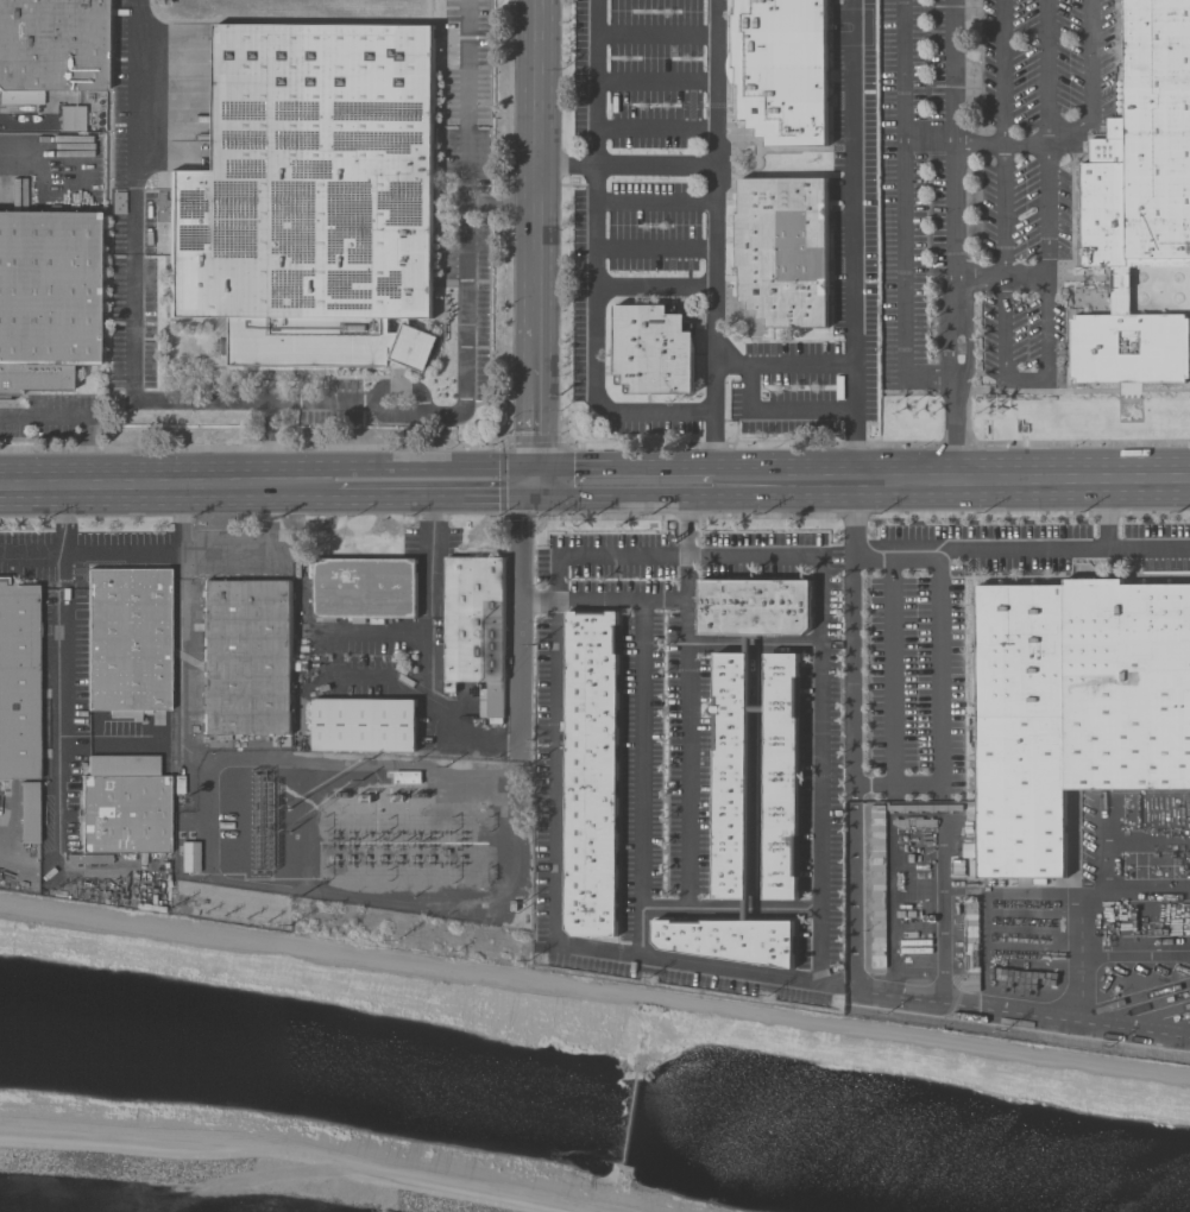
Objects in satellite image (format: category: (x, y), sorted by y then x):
building: (52, 45)
building: (781, 68)
road: (1047, 70)
road: (926, 140)
road: (977, 143)
road: (1025, 143)
road: (534, 163)
road: (51, 164)
road: (624, 165)
building: (311, 198)
building: (1138, 202)
road: (901, 212)
road: (713, 232)
road: (852, 240)
road: (952, 241)
building: (783, 251)
road: (593, 260)
road: (999, 276)
building: (46, 298)
road: (1002, 334)
building: (653, 349)
road: (783, 365)
road: (308, 400)
road: (531, 409)
road: (80, 416)
road: (269, 442)
road: (420, 465)
road: (621, 465)
road: (290, 474)
road: (741, 475)
road: (1035, 481)
road: (867, 482)
road: (811, 484)
road: (134, 487)
road: (295, 490)
road: (739, 490)
road: (617, 493)
road: (421, 494)
road: (1103, 515)
road: (983, 549)
road: (31, 554)
road: (157, 554)
road: (263, 554)
road: (429, 556)
building: (364, 589)
road: (602, 601)
building: (754, 607)
road: (518, 621)
building: (474, 625)
building: (127, 640)
building: (246, 657)
road: (890, 669)
road: (62, 678)
road: (854, 678)
building: (18, 680)
road: (433, 705)
building: (1075, 707)
road: (940, 708)
building: (363, 726)
road: (182, 739)
road: (108, 744)
road: (644, 755)
building: (590, 774)
building: (780, 776)
building: (380, 777)
building: (730, 777)
road: (820, 795)
building: (125, 806)
building: (29, 812)
power substation: (416, 837)
building: (231, 839)
building: (722, 940)
road: (592, 952)
road: (930, 995)

